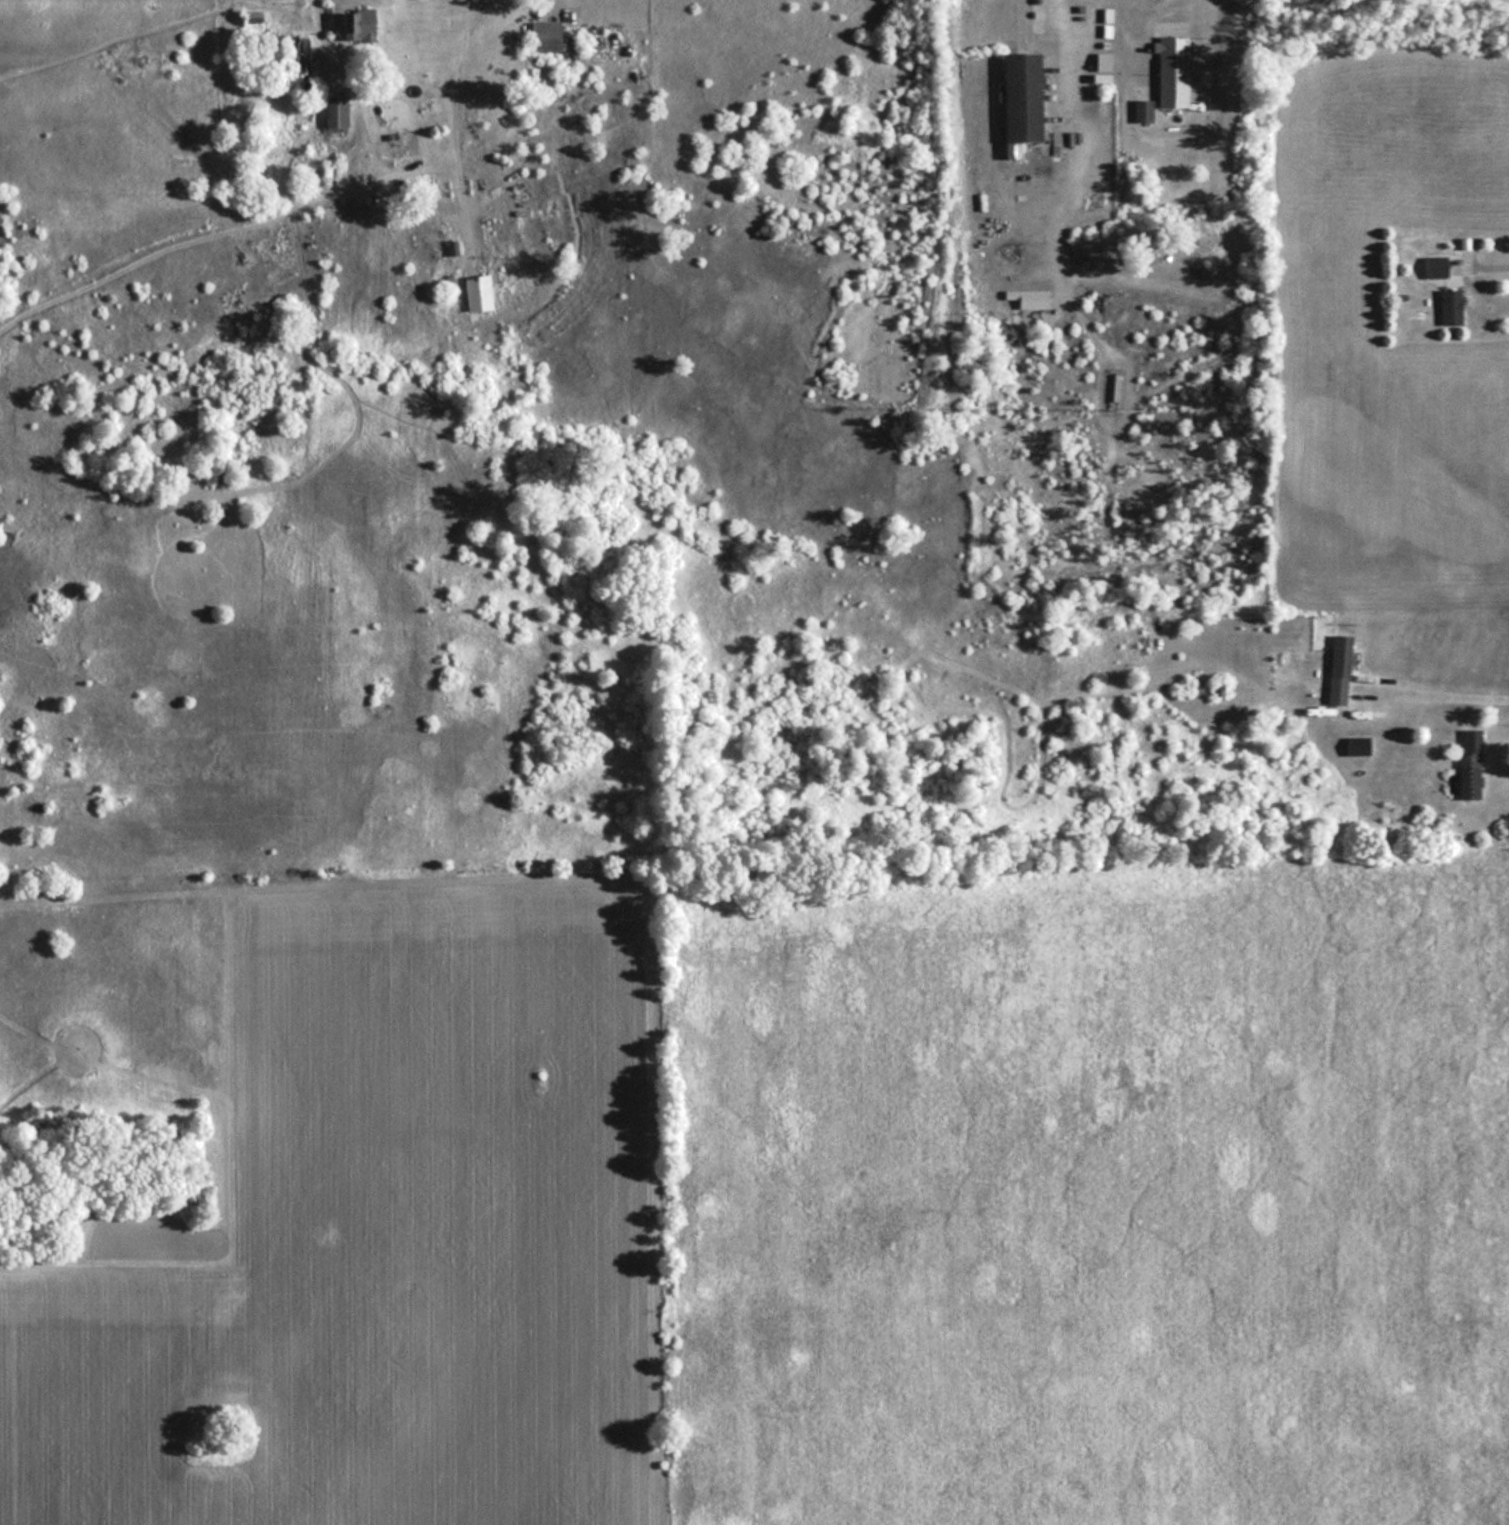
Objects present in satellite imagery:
road: (1111, 0)
building: (352, 25)
building: (540, 36)
building: (293, 54)
building: (1168, 71)
building: (1014, 100)
road: (453, 111)
building: (331, 115)
building: (1431, 266)
road: (1484, 266)
building: (474, 285)
building: (1025, 297)
building: (1447, 307)
building: (1334, 669)
building: (1465, 764)

